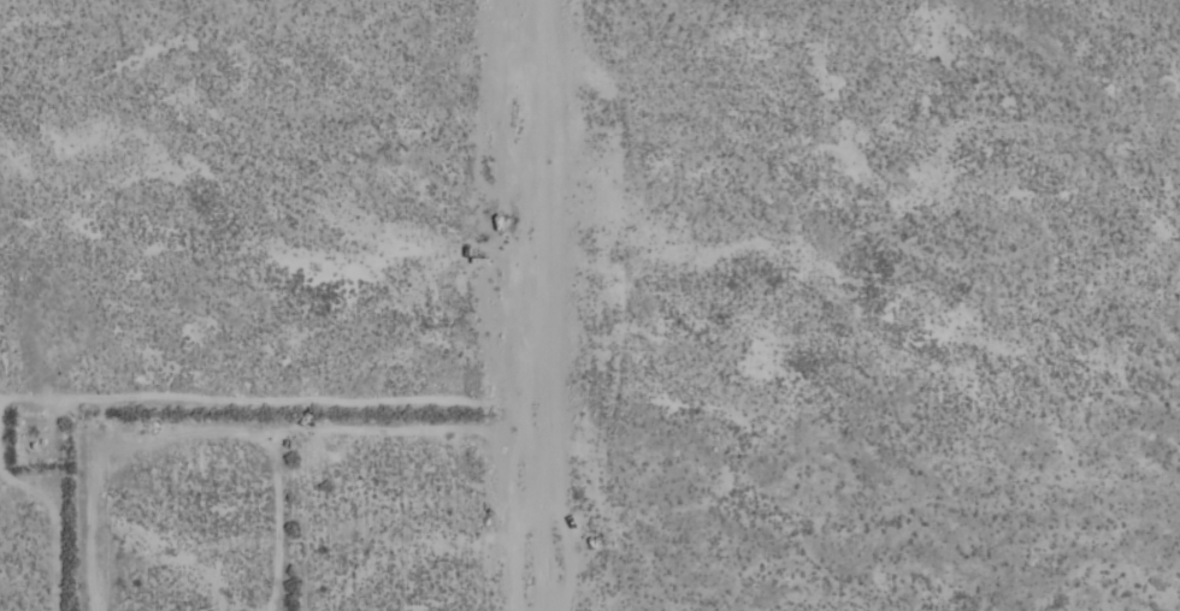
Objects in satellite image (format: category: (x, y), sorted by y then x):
road: (525, 305)

